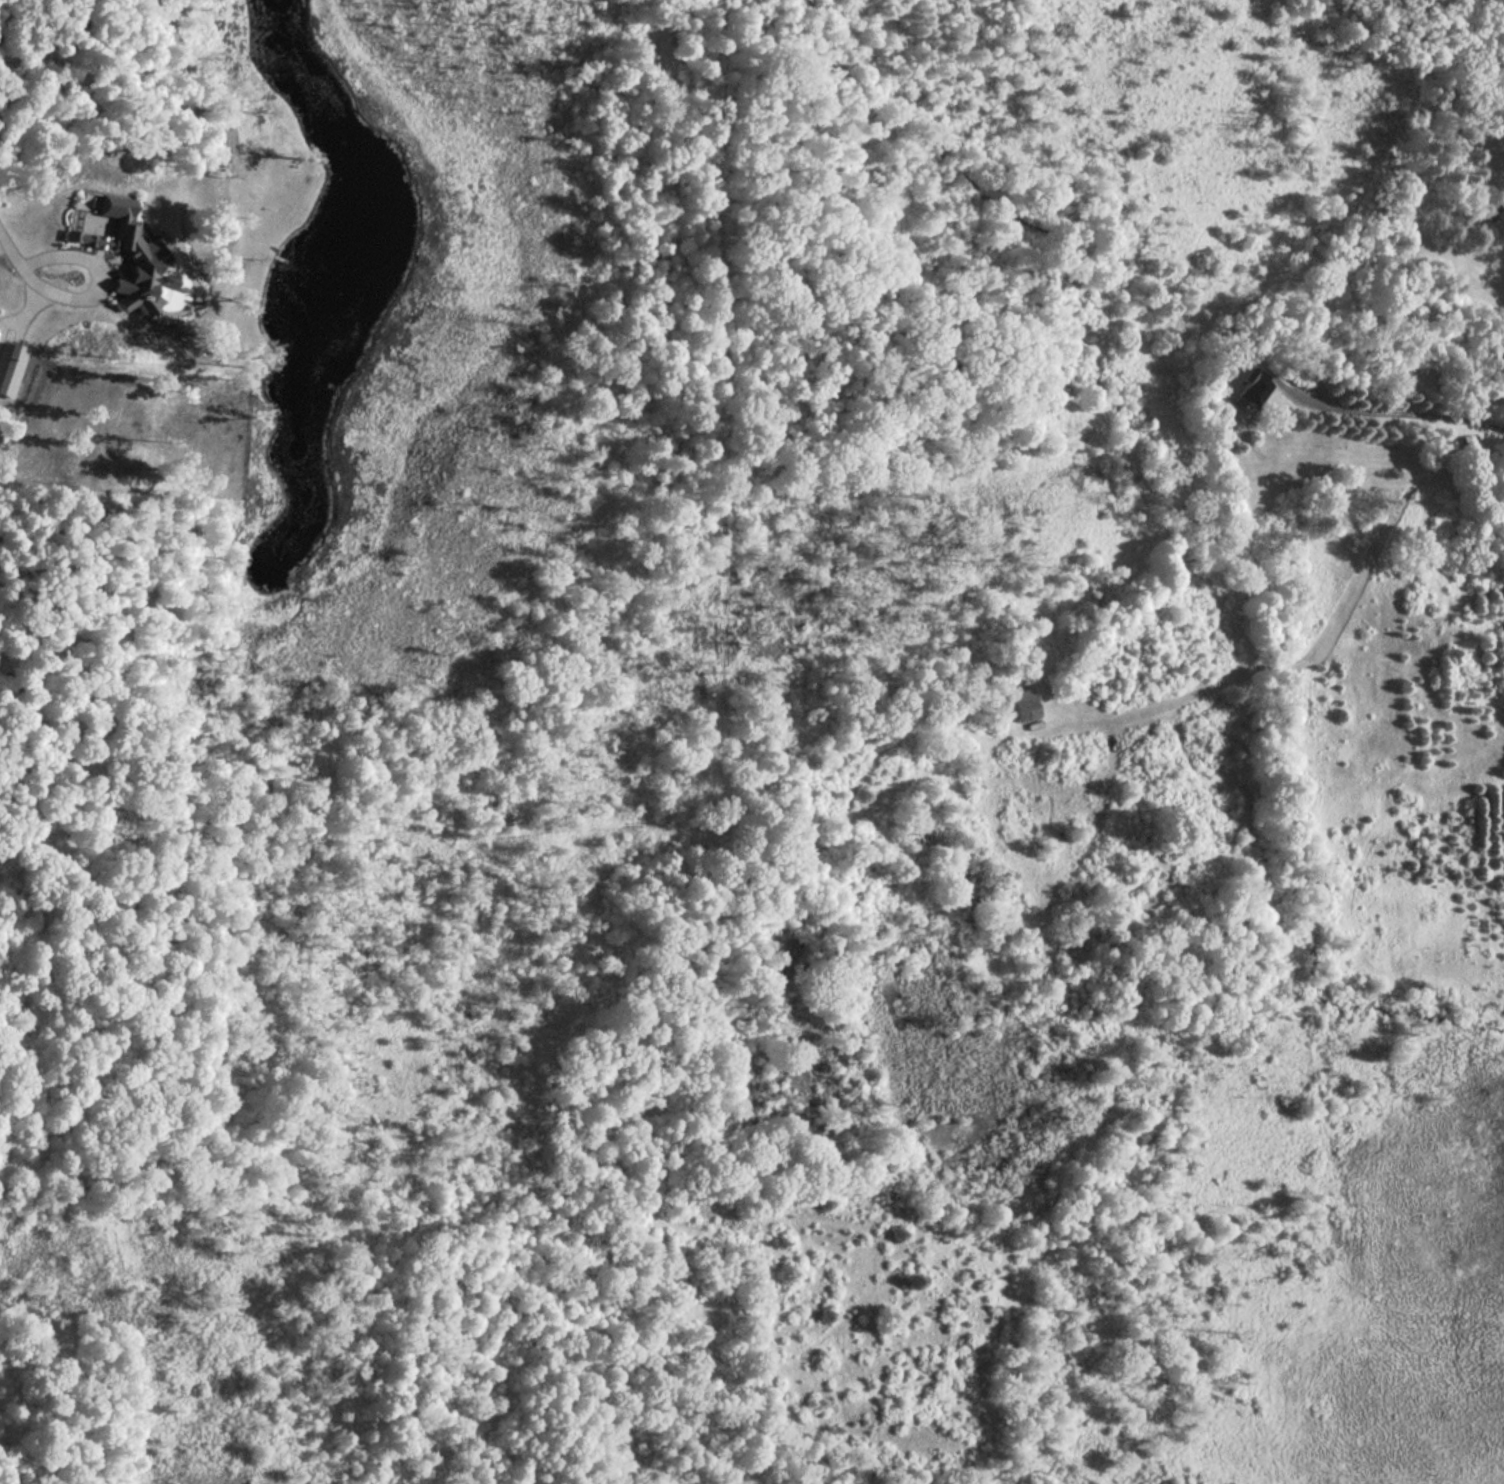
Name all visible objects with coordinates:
building: (120, 243)
building: (1252, 390)
road: (1389, 413)
building: (1024, 703)

